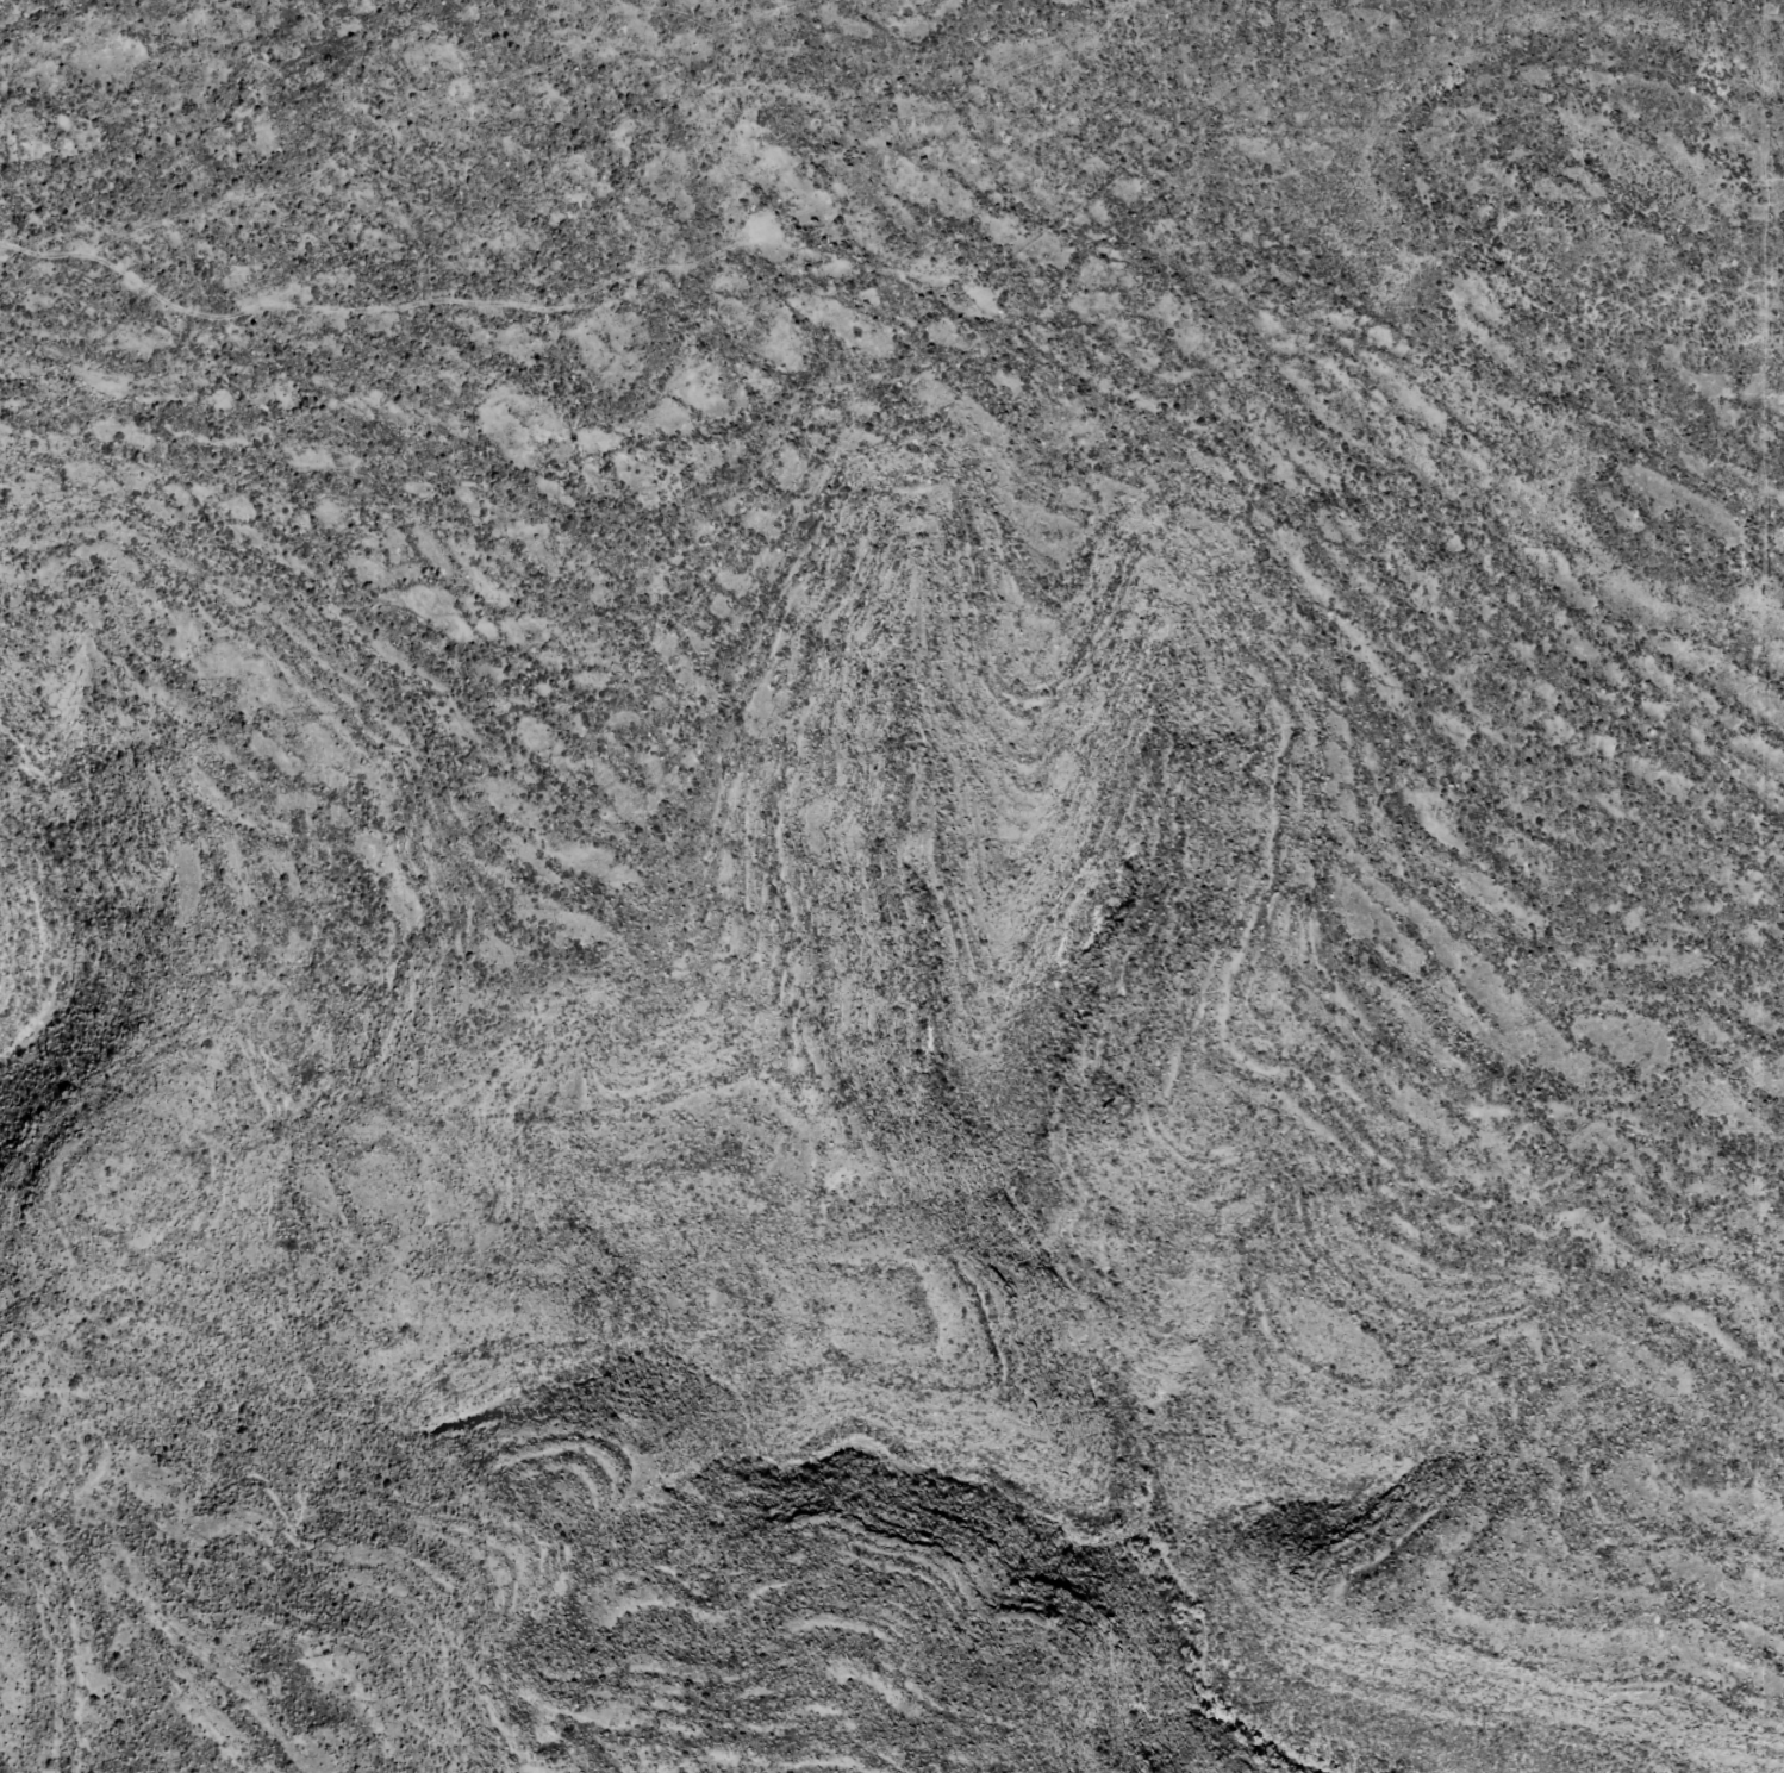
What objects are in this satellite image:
road: (619, 724)

